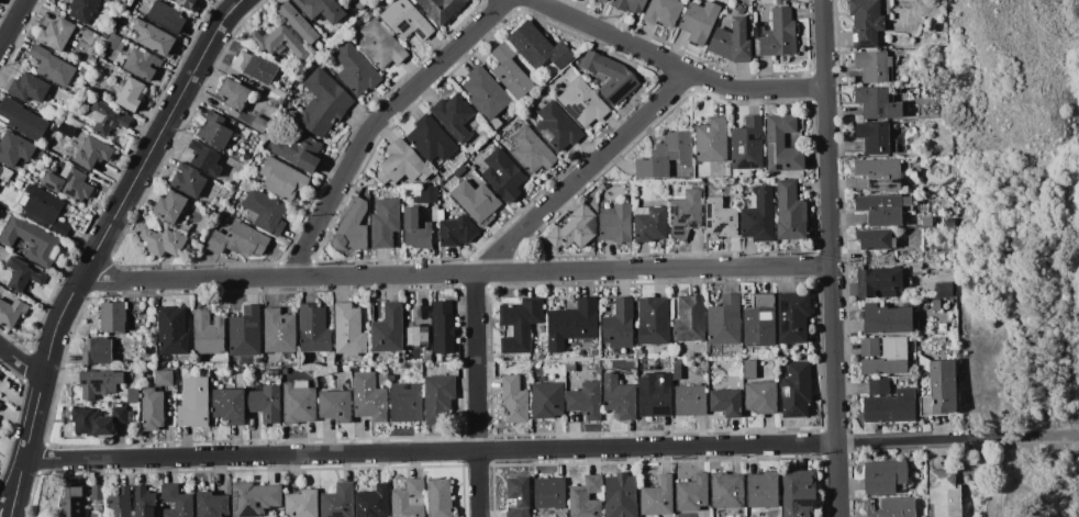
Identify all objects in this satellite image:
building: (604, 0)
building: (134, 2)
building: (631, 4)
building: (192, 5)
building: (441, 9)
building: (739, 9)
building: (84, 10)
building: (322, 10)
building: (664, 11)
building: (166, 16)
building: (405, 20)
building: (700, 22)
building: (867, 22)
building: (299, 23)
road: (13, 24)
building: (56, 33)
building: (777, 35)
building: (153, 37)
building: (733, 41)
building: (114, 42)
building: (279, 42)
building: (381, 45)
building: (538, 47)
building: (94, 50)
building: (101, 54)
building: (90, 59)
building: (142, 63)
road: (677, 65)
building: (52, 66)
building: (255, 66)
building: (875, 66)
building: (355, 69)
building: (510, 71)
building: (611, 76)
building: (29, 88)
building: (130, 94)
building: (234, 94)
building: (486, 94)
building: (277, 95)
building: (582, 102)
building: (323, 103)
building: (877, 103)
building: (454, 115)
building: (22, 119)
building: (108, 119)
road: (379, 122)
building: (259, 124)
building: (557, 126)
building: (67, 130)
building: (214, 131)
building: (876, 137)
building: (431, 139)
building: (711, 139)
building: (782, 144)
building: (747, 145)
building: (14, 148)
building: (470, 148)
building: (299, 150)
building: (531, 150)
building: (93, 153)
building: (40, 155)
building: (665, 156)
building: (205, 158)
building: (401, 164)
building: (5, 173)
building: (880, 173)
building: (503, 176)
building: (282, 179)
building: (189, 180)
building: (69, 183)
building: (427, 194)
building: (23, 200)
building: (477, 201)
building: (885, 207)
building: (45, 210)
building: (171, 210)
building: (2, 211)
building: (265, 212)
building: (791, 212)
building: (686, 213)
building: (758, 214)
building: (720, 220)
building: (383, 221)
building: (616, 223)
building: (950, 223)
building: (650, 224)
park: (1035, 226)
building: (353, 228)
building: (416, 229)
building: (456, 229)
building: (575, 229)
road: (107, 233)
building: (876, 238)
building: (31, 240)
building: (238, 240)
building: (163, 241)
road: (497, 257)
road: (833, 258)
building: (22, 274)
road: (457, 274)
building: (880, 282)
building: (944, 290)
building: (936, 305)
building: (11, 312)
building: (113, 316)
building: (793, 317)
building: (690, 319)
building: (888, 319)
building: (654, 321)
building: (724, 322)
building: (760, 322)
building: (519, 325)
building: (572, 325)
building: (620, 326)
building: (443, 328)
building: (314, 329)
building: (388, 329)
building: (173, 330)
building: (349, 330)
building: (280, 331)
building: (209, 333)
building: (246, 333)
building: (419, 336)
building: (869, 347)
building: (97, 351)
building: (889, 358)
building: (148, 360)
road: (22, 361)
building: (240, 369)
building: (285, 370)
building: (0, 371)
building: (272, 371)
building: (677, 371)
building: (164, 378)
building: (102, 382)
building: (939, 387)
building: (758, 390)
building: (797, 390)
building: (655, 394)
building: (133, 395)
building: (369, 397)
building: (619, 397)
building: (440, 400)
building: (514, 400)
building: (547, 400)
building: (691, 400)
building: (586, 401)
building: (0, 402)
building: (265, 402)
building: (726, 402)
building: (193, 403)
building: (299, 403)
building: (405, 403)
building: (889, 403)
building: (1, 405)
building: (230, 405)
building: (335, 405)
building: (152, 409)
building: (98, 422)
road: (1053, 436)
road: (933, 440)
road: (433, 452)
building: (885, 476)
road: (1005, 477)
building: (763, 490)
building: (727, 491)
building: (97, 492)
building: (549, 493)
building: (692, 493)
building: (798, 493)
building: (944, 494)
building: (621, 495)
building: (657, 496)
building: (440, 497)
building: (519, 497)
building: (587, 497)
building: (254, 498)
road: (9, 499)
building: (409, 499)
building: (338, 501)
building: (73, 502)
building: (145, 502)
building: (176, 502)
building: (374, 502)
road: (14, 503)
building: (121, 503)
building: (302, 504)
building: (212, 505)
building: (892, 507)

